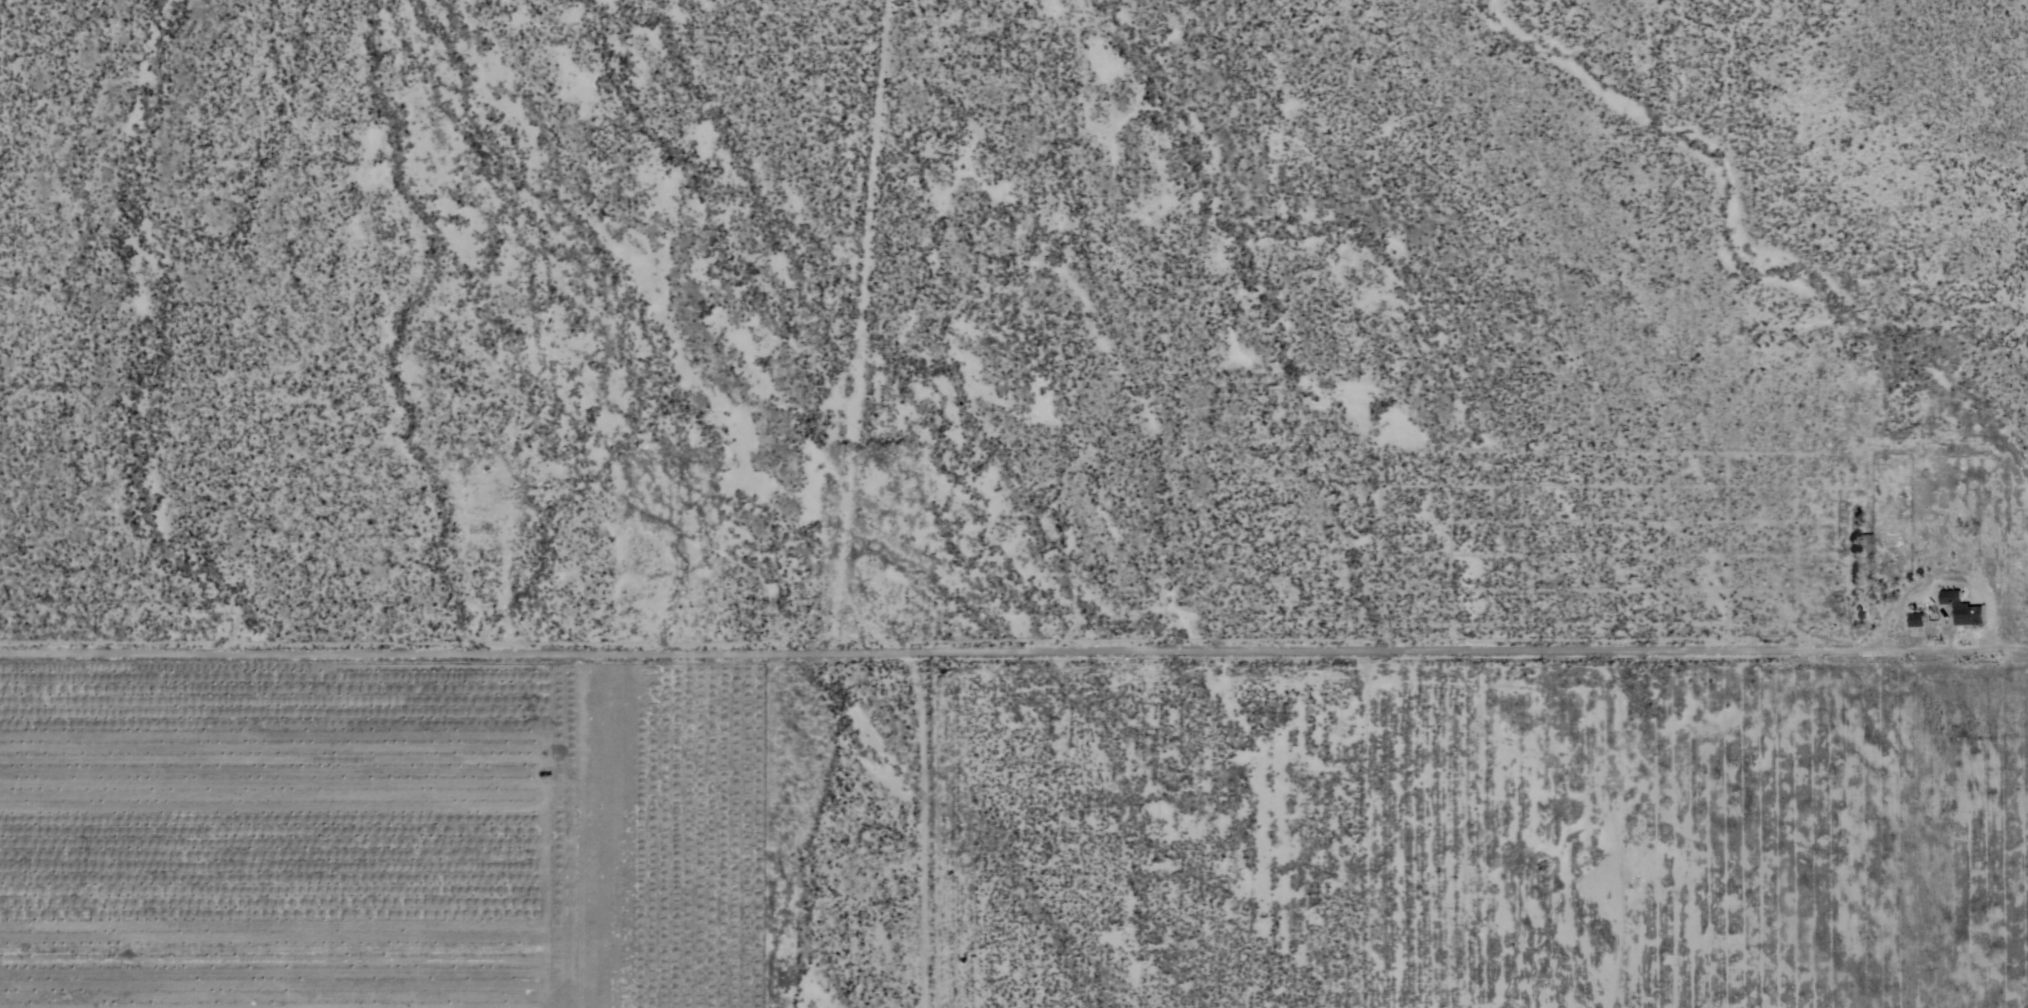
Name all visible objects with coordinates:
building: (1865, 544)
building: (1962, 608)
building: (1915, 619)
road: (1013, 649)

